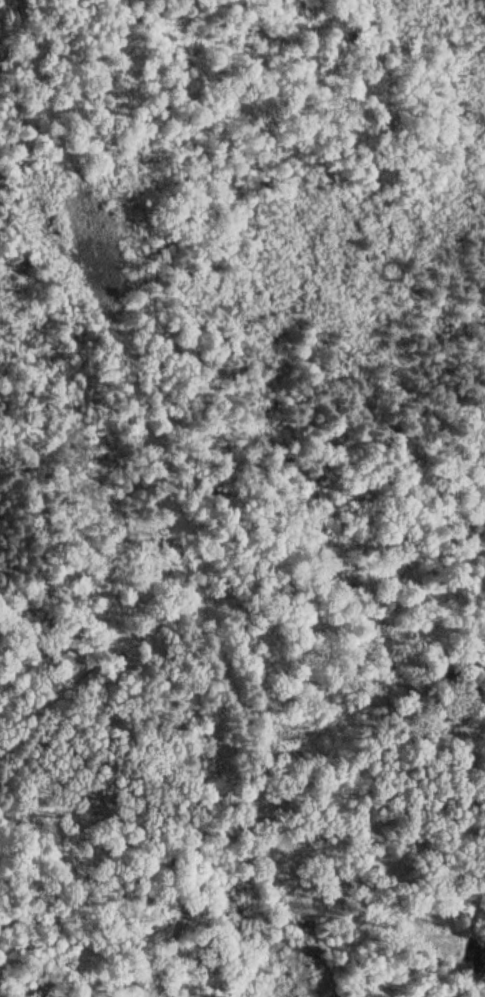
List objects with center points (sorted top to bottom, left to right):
road: (278, 822)

